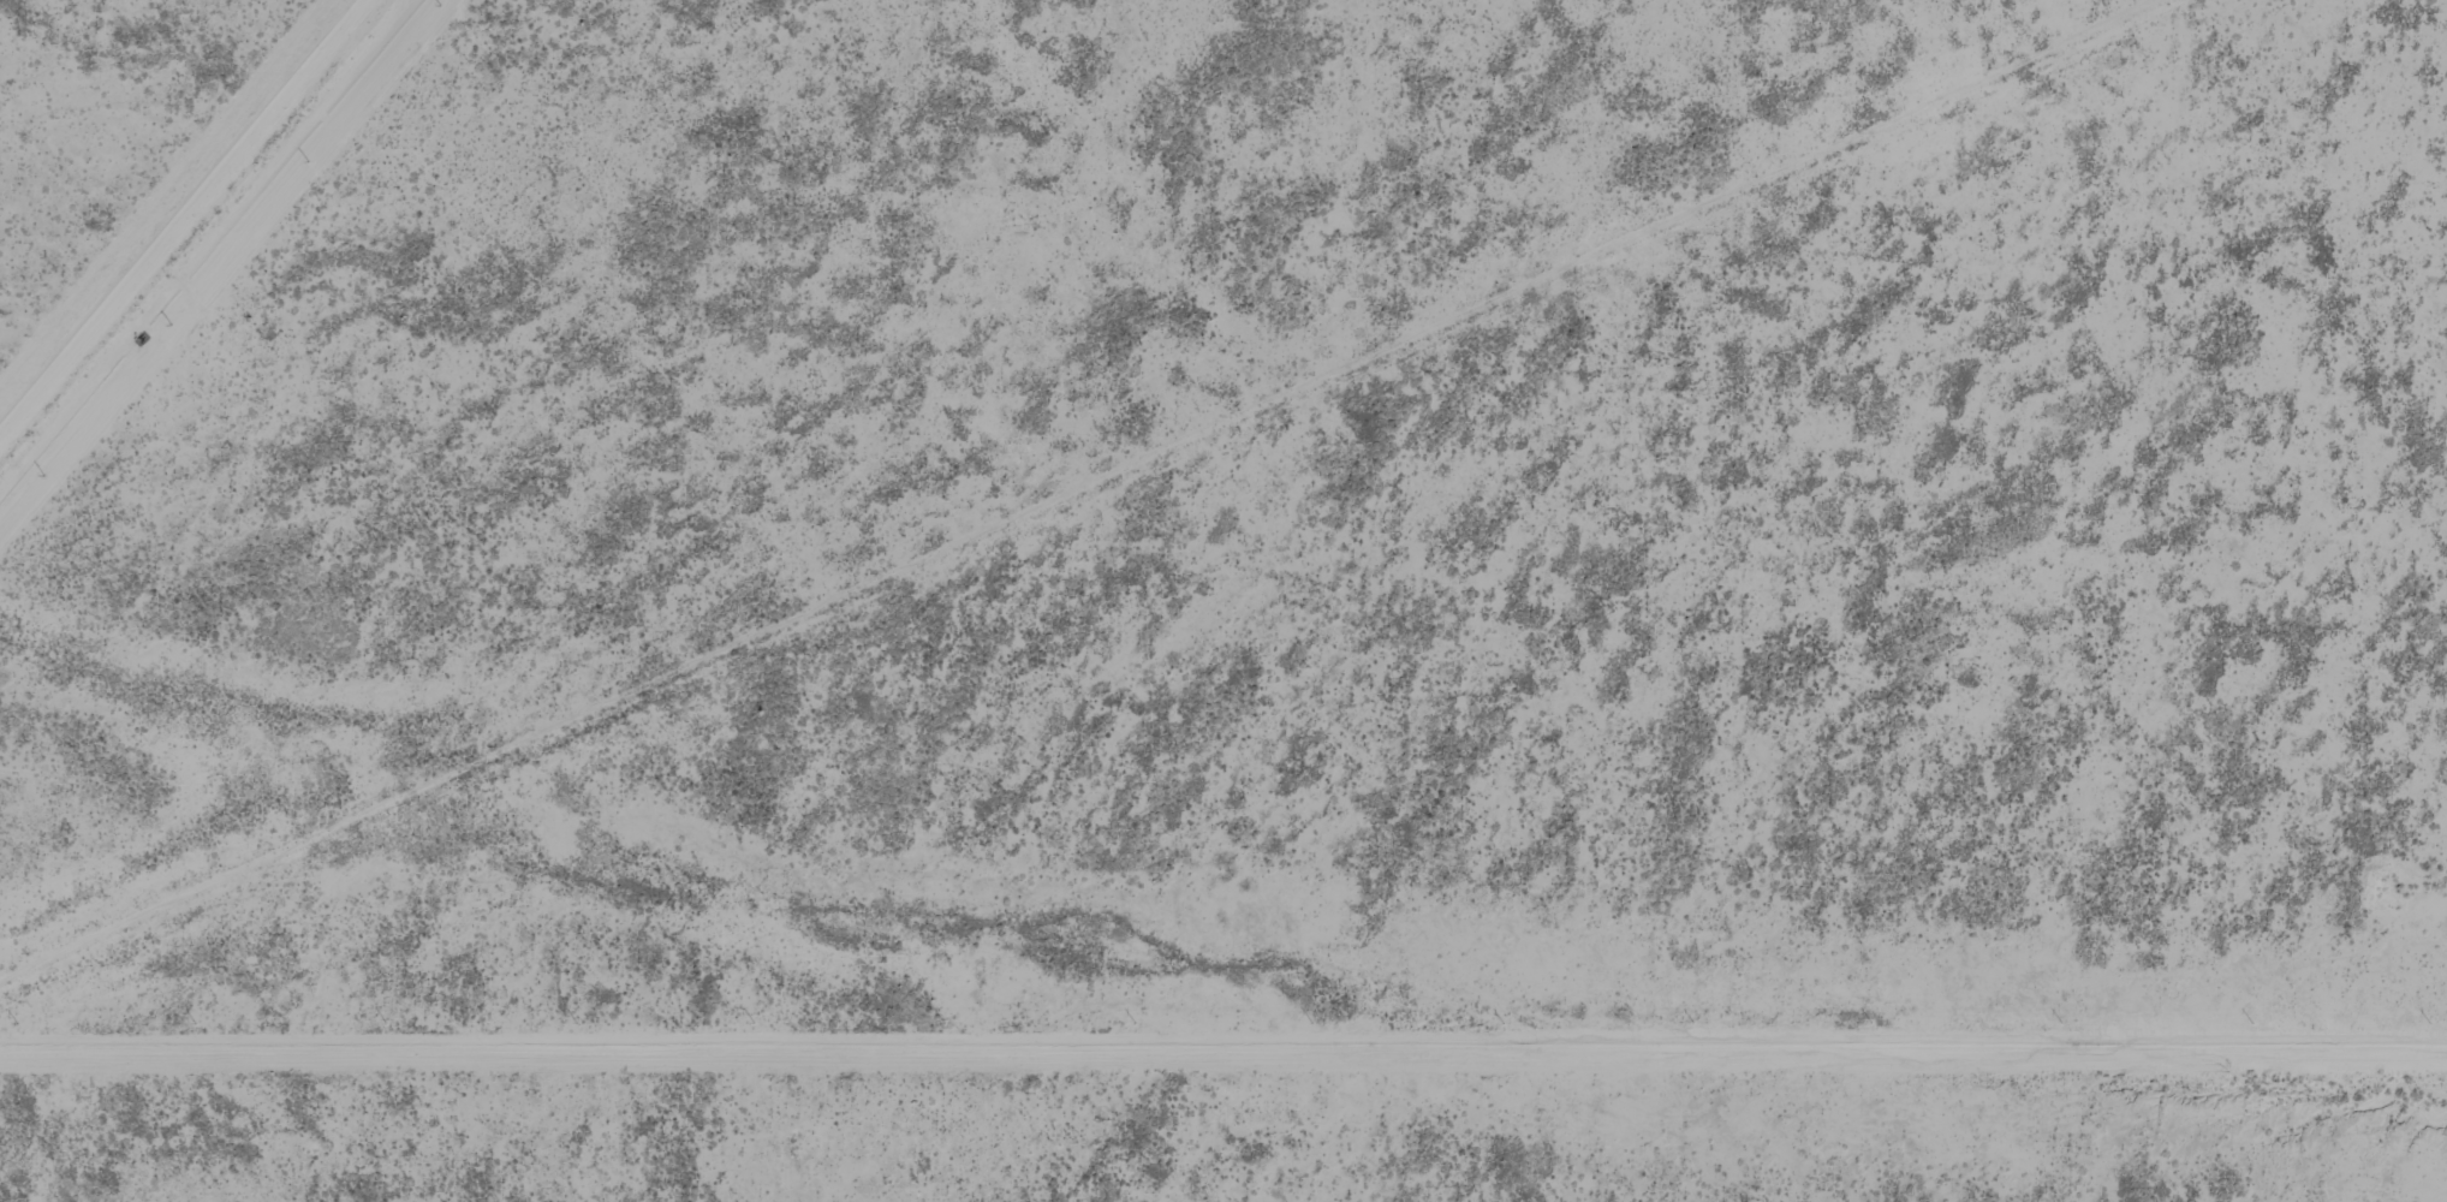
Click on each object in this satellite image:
road: (2437, 761)

